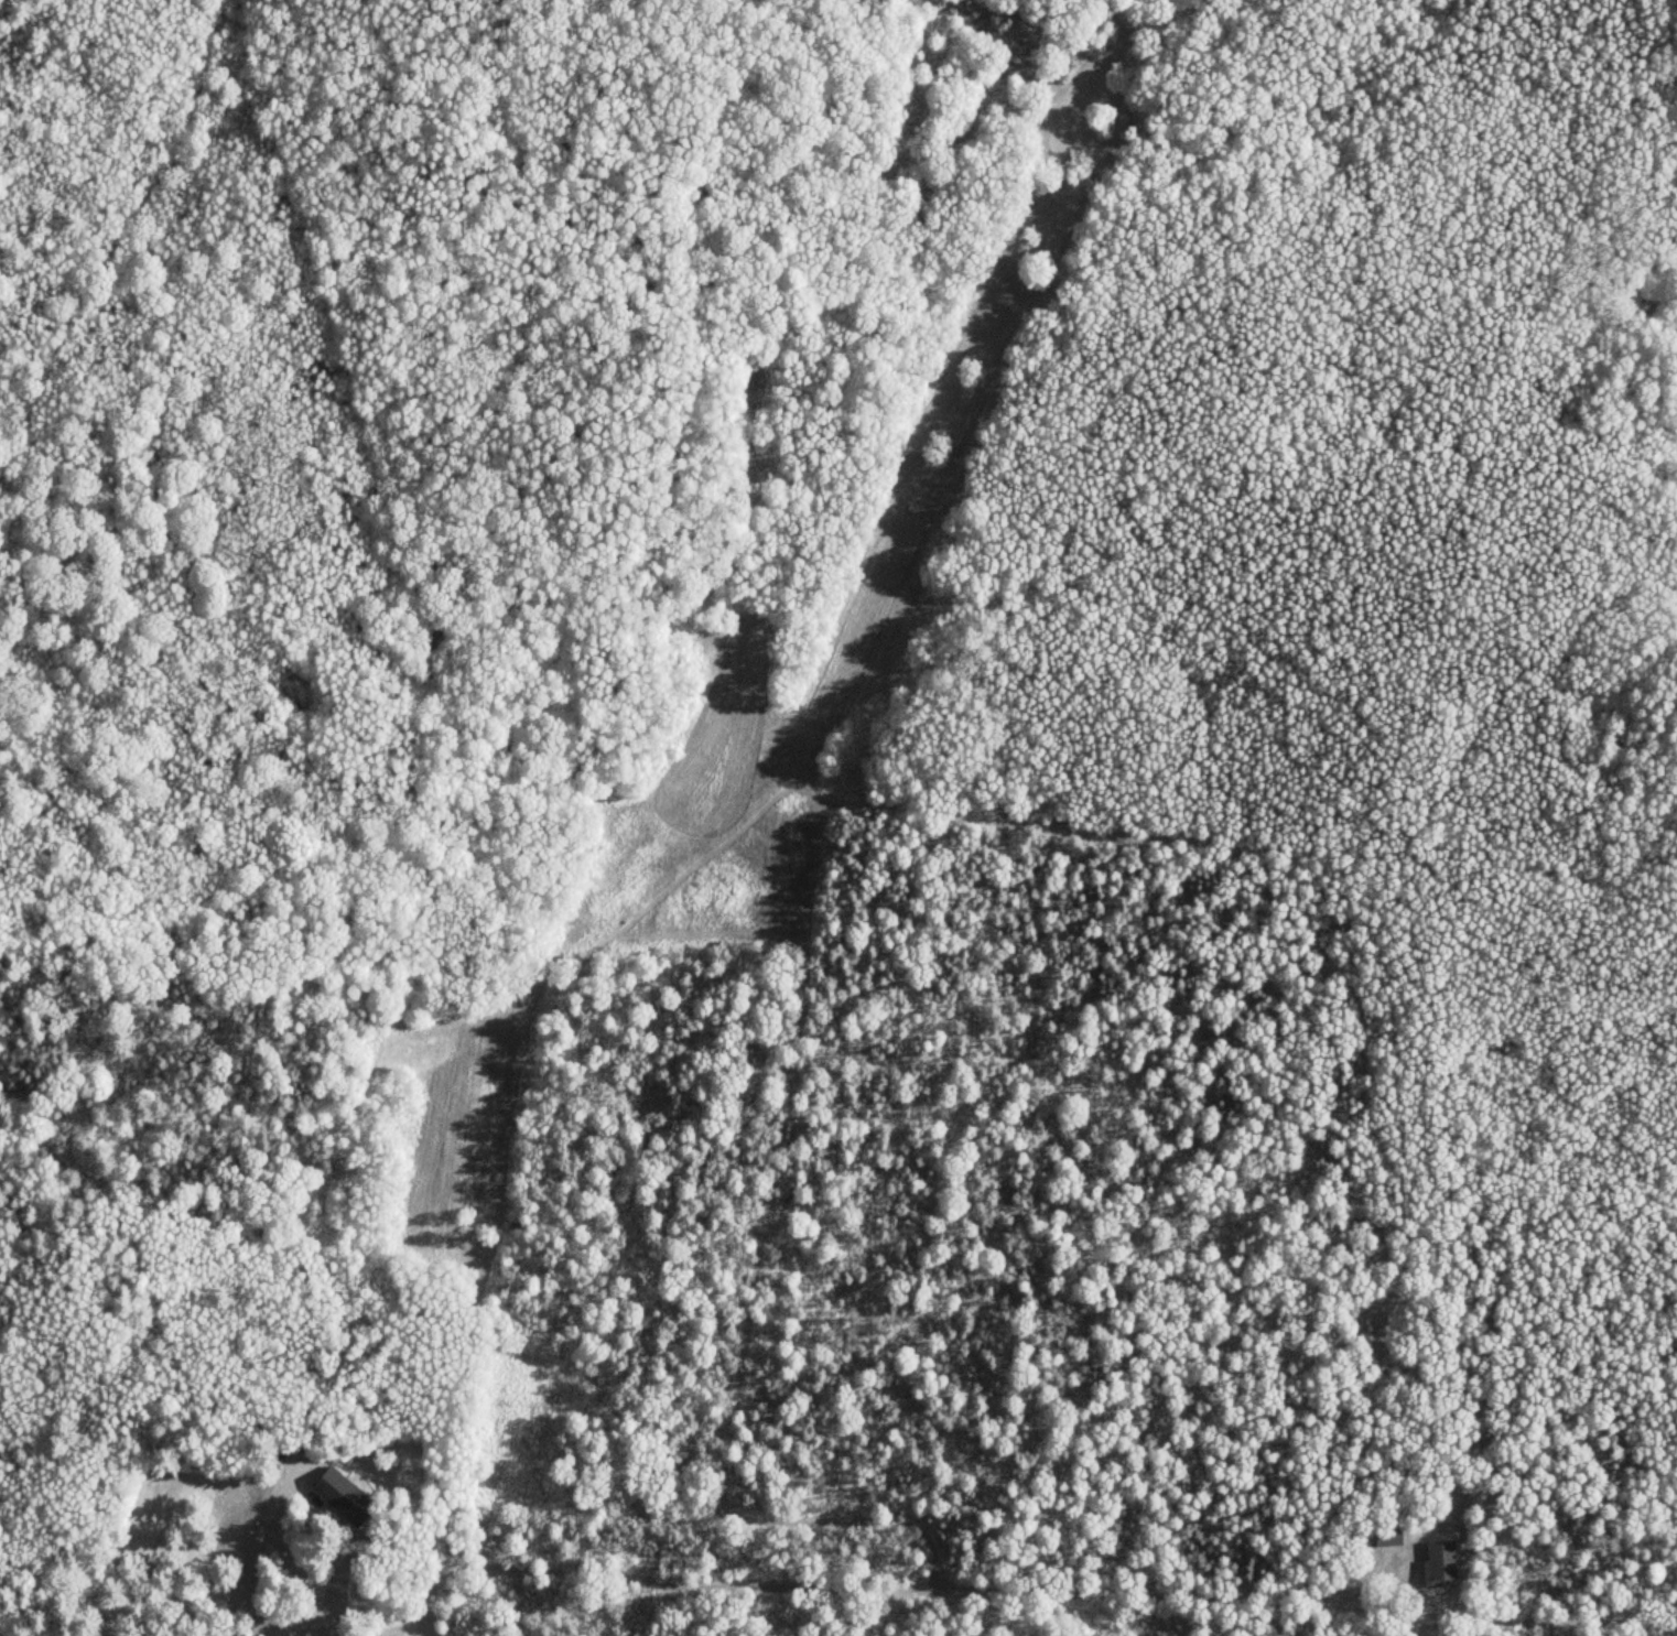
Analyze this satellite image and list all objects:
road: (120, 248)
building: (336, 1496)
building: (1382, 1536)
building: (1435, 1563)

